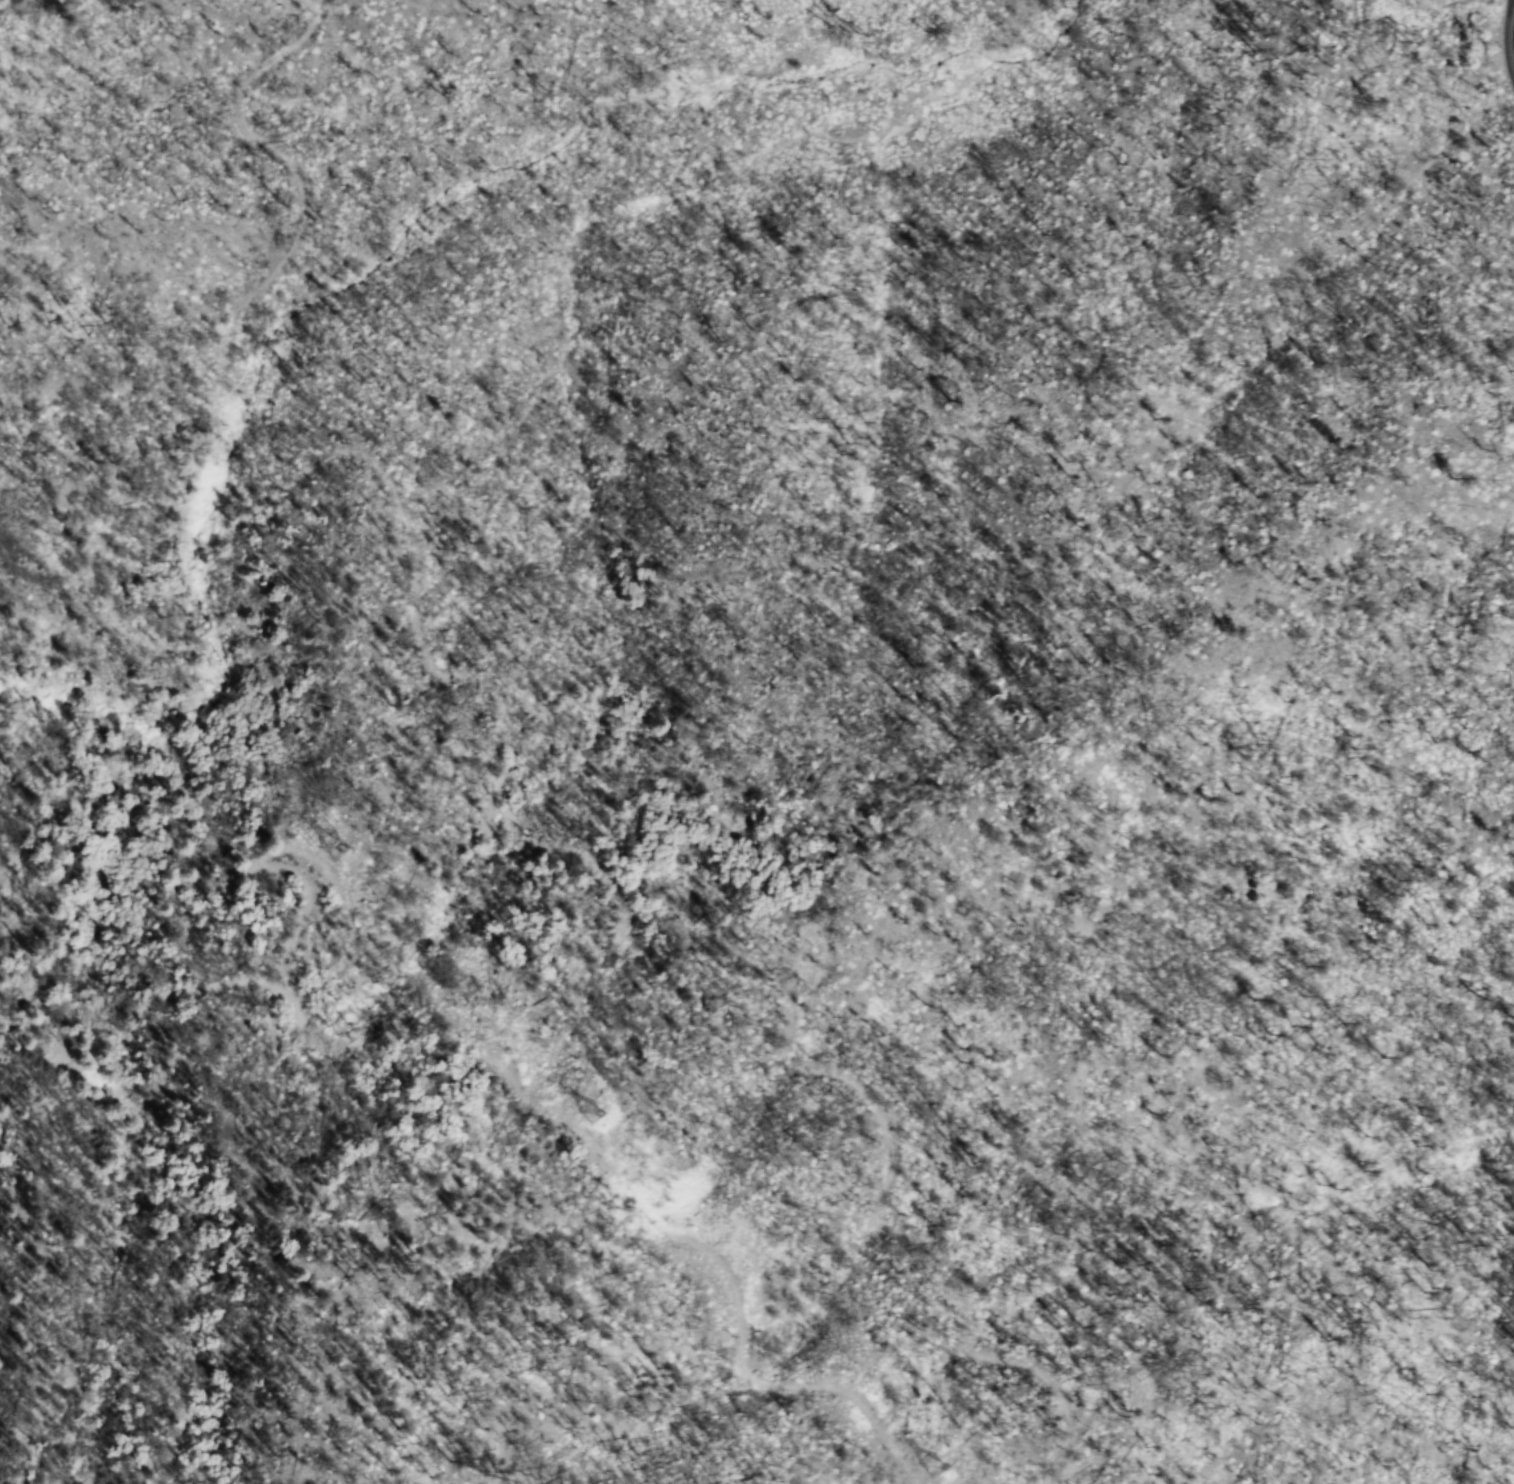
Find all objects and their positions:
power tower: (323, 850)
power tower: (574, 1111)
power tower: (923, 1466)

